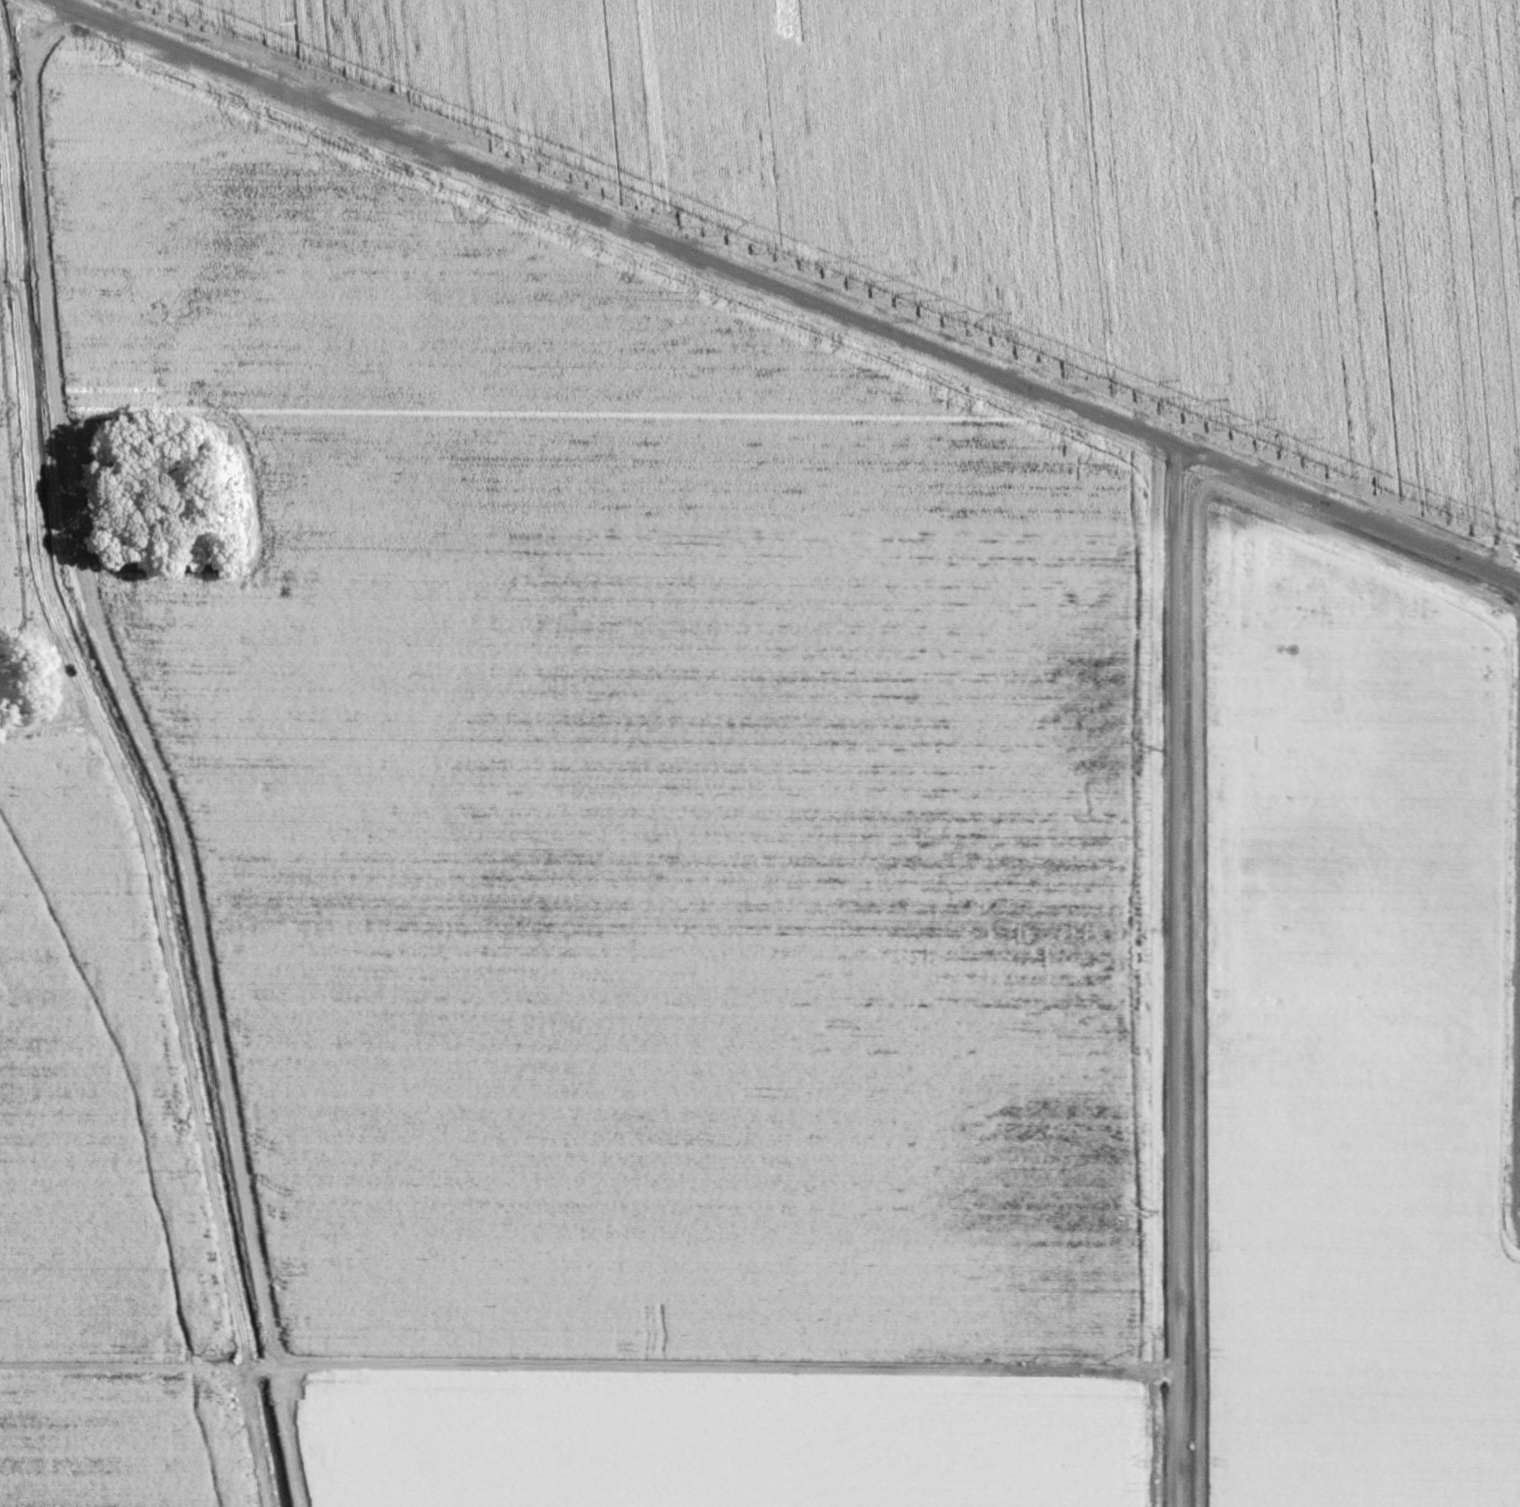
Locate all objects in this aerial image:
road: (606, 221)
road: (1491, 287)
road: (1342, 513)
road: (1165, 974)
road: (582, 1364)

